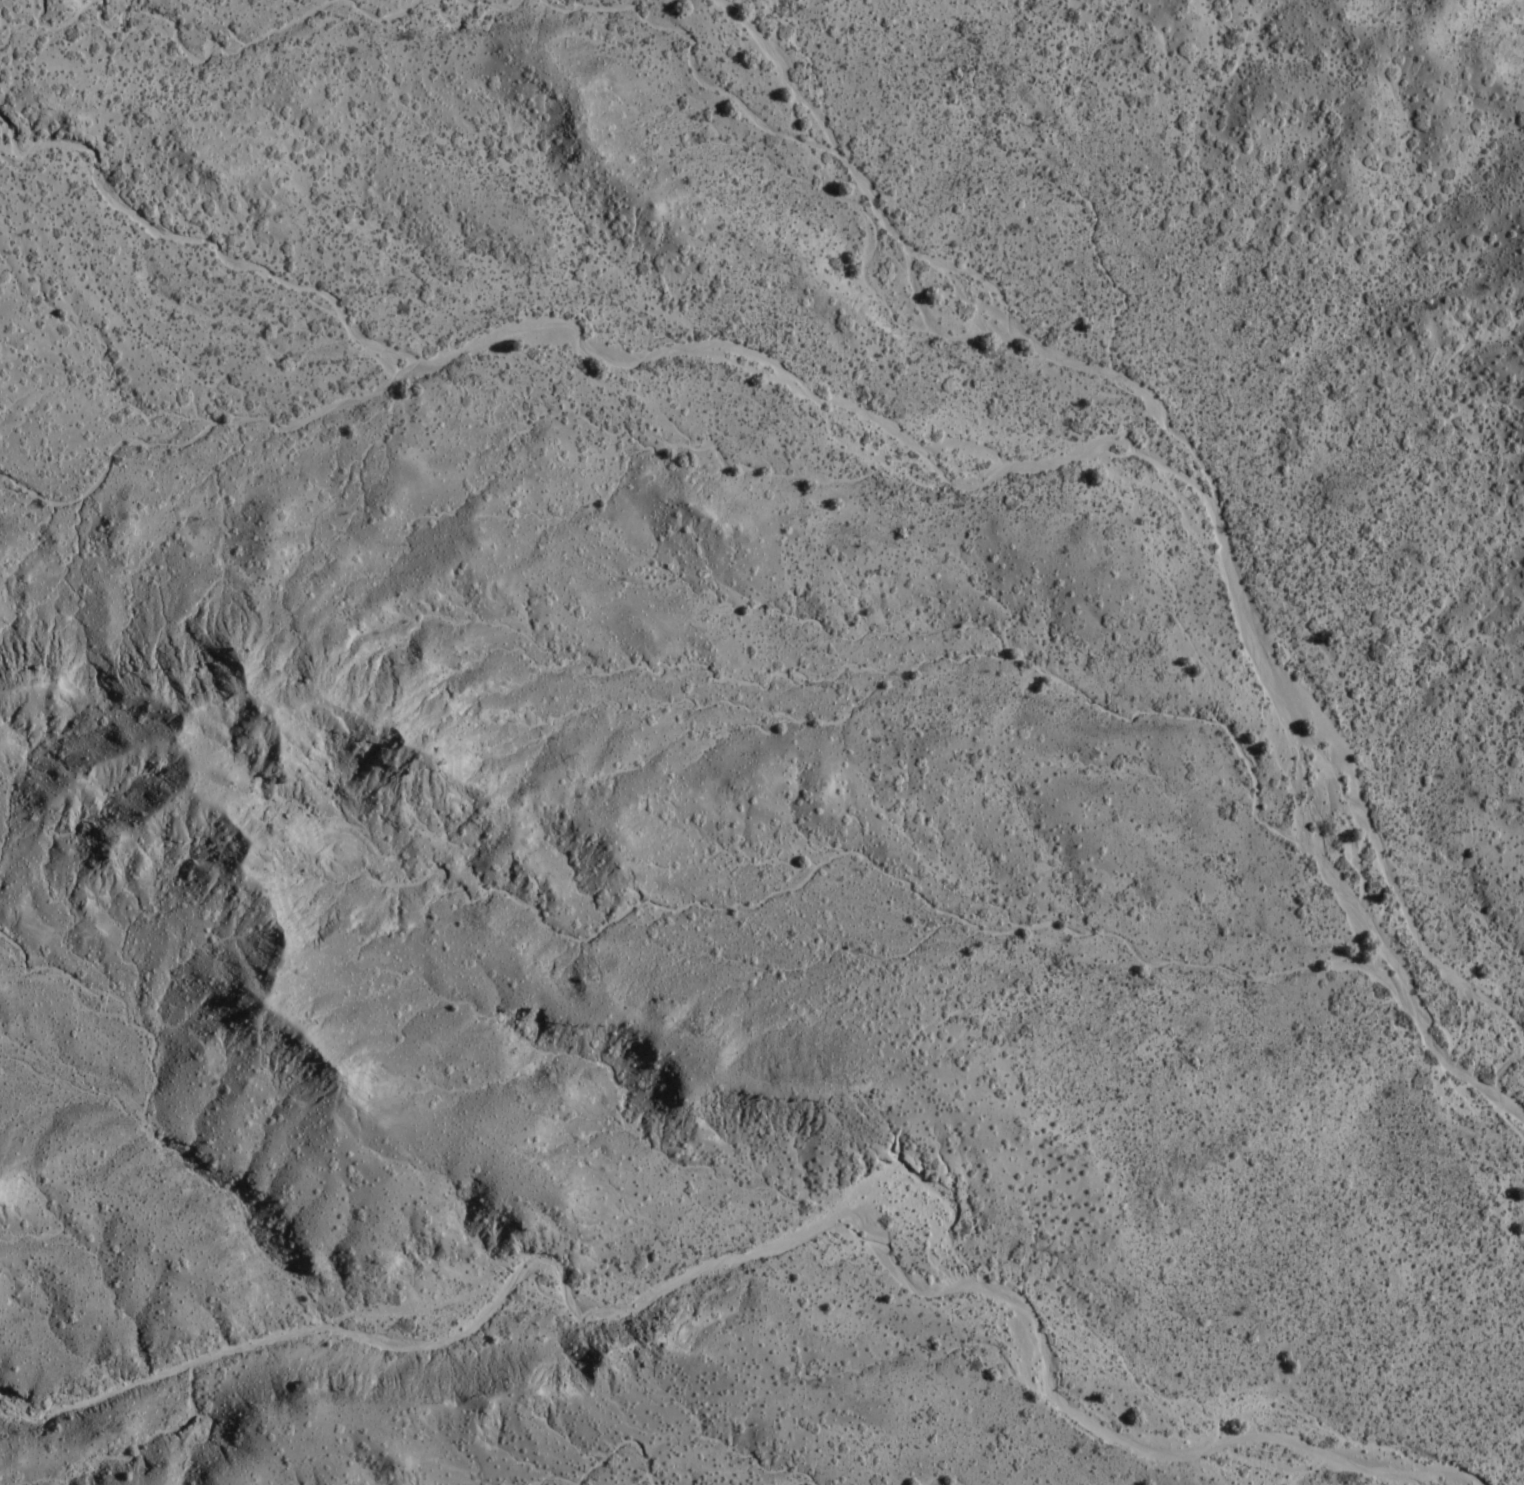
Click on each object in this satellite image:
river: (969, 445)
river: (1154, 458)
river: (1418, 938)
river: (1396, 1472)

